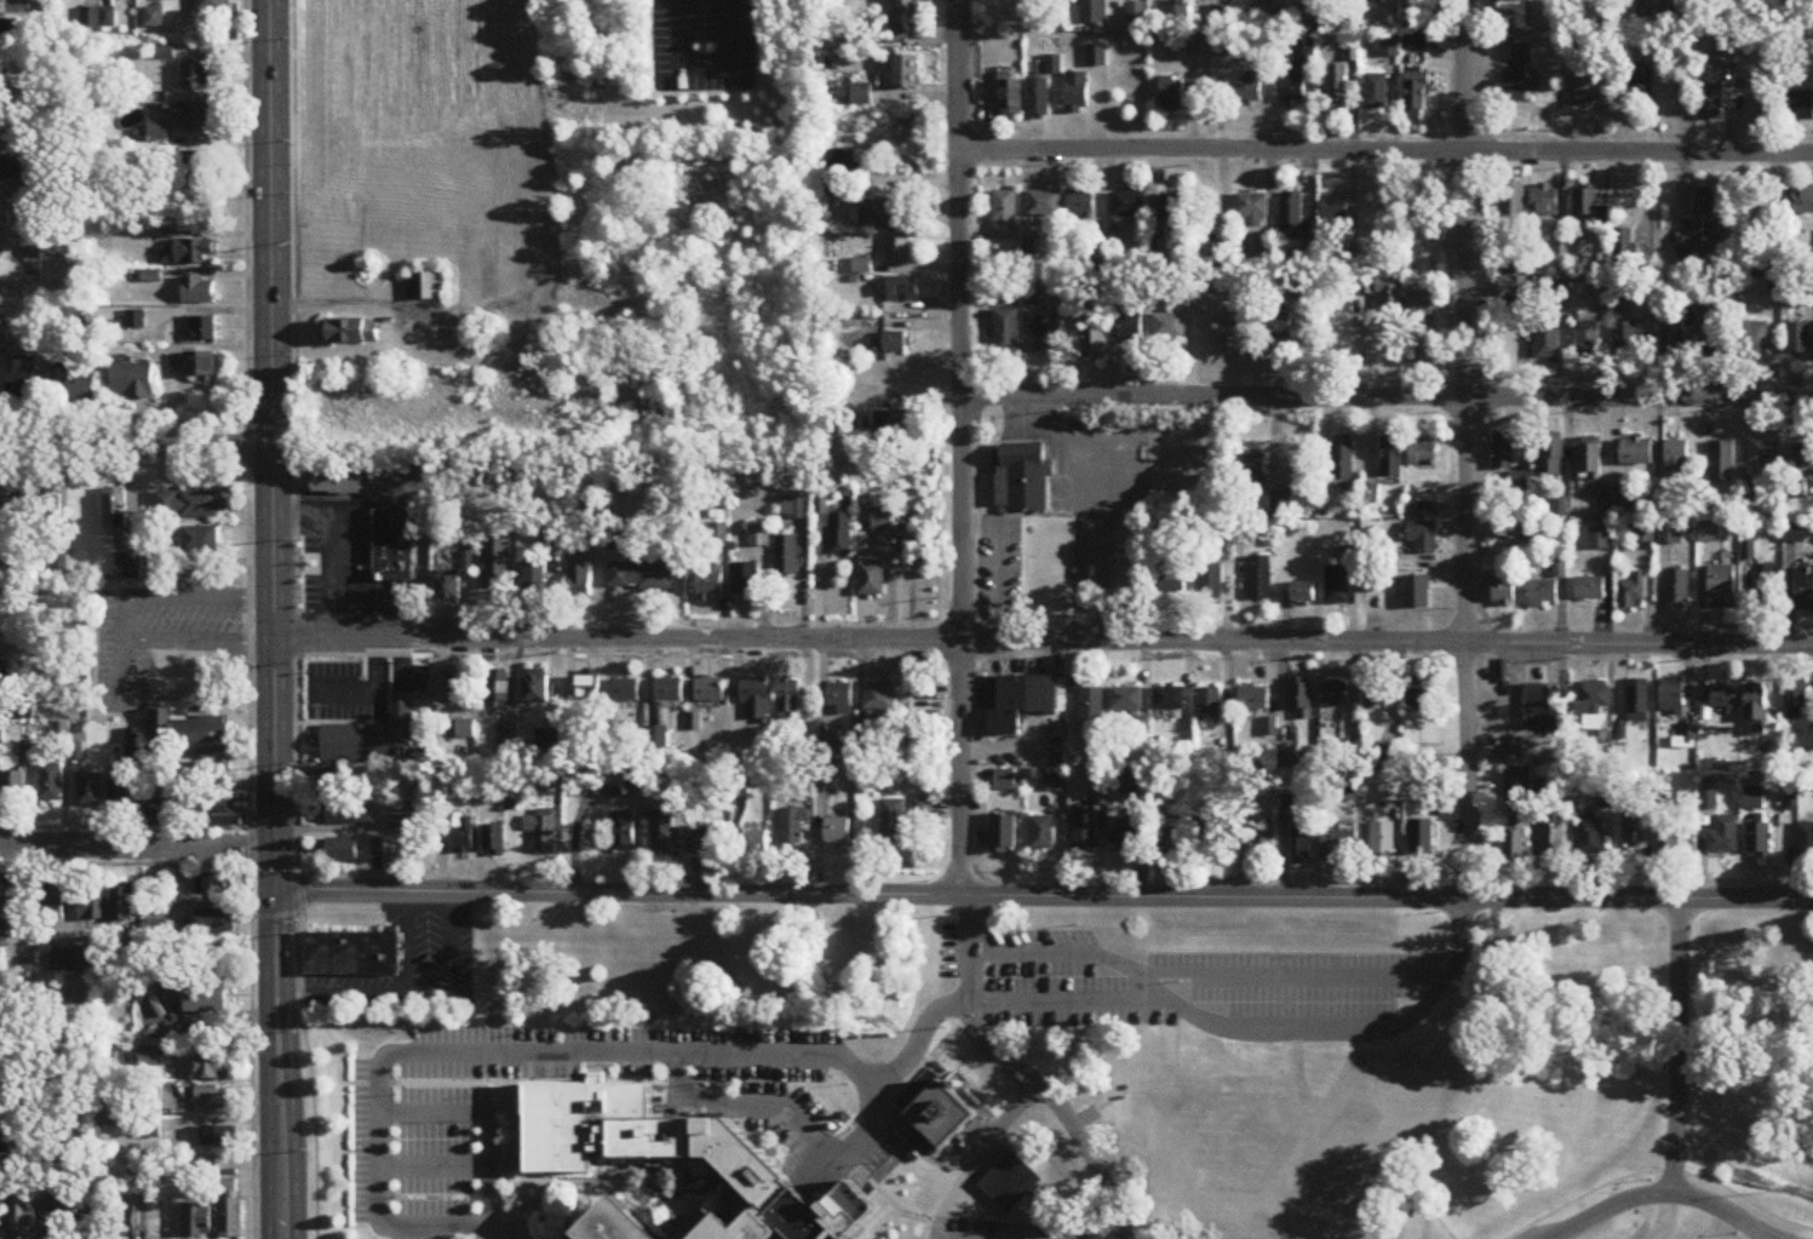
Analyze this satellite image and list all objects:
building: (1383, 1)
building: (208, 6)
building: (1269, 8)
building: (1092, 13)
building: (1136, 13)
building: (1510, 17)
building: (153, 19)
building: (1176, 19)
building: (903, 21)
building: (1415, 25)
building: (1222, 42)
building: (1389, 50)
building: (1723, 52)
building: (1521, 55)
building: (1096, 57)
building: (906, 73)
building: (1298, 76)
building: (197, 79)
building: (1640, 87)
building: (1338, 88)
building: (1514, 90)
building: (1250, 91)
building: (1591, 91)
building: (1171, 93)
building: (1376, 93)
building: (1077, 94)
building: (861, 96)
building: (1011, 98)
building: (1039, 98)
building: (1417, 98)
building: (1710, 102)
building: (1800, 113)
building: (191, 116)
road: (1387, 153)
building: (842, 162)
building: (197, 170)
building: (1545, 201)
building: (1803, 202)
building: (1045, 203)
building: (1082, 203)
building: (1513, 203)
building: (1128, 206)
building: (1590, 208)
building: (1174, 210)
building: (1251, 211)
building: (1333, 211)
building: (1705, 212)
building: (1004, 214)
building: (1291, 214)
building: (884, 216)
building: (1624, 251)
building: (899, 252)
building: (188, 254)
building: (1204, 256)
building: (1683, 258)
building: (1757, 264)
building: (505, 279)
building: (425, 288)
building: (1600, 289)
building: (902, 291)
building: (1513, 291)
building: (199, 292)
building: (1560, 294)
building: (1422, 304)
building: (1276, 325)
building: (1169, 327)
building: (1131, 328)
building: (1227, 328)
building: (201, 329)
building: (352, 332)
building: (1005, 332)
building: (1090, 333)
building: (1719, 333)
building: (1046, 334)
building: (1671, 334)
building: (1588, 337)
building: (1754, 339)
building: (1798, 339)
building: (1547, 340)
building: (1625, 340)
building: (891, 344)
building: (200, 368)
building: (21, 382)
building: (133, 383)
building: (74, 385)
road: (1388, 398)
building: (896, 424)
road: (137, 447)
road: (962, 448)
road: (1464, 451)
building: (1503, 452)
building: (1765, 452)
building: (1636, 453)
building: (1422, 455)
building: (1551, 455)
building: (1342, 457)
building: (1390, 458)
building: (1589, 459)
building: (1676, 459)
building: (1803, 459)
building: (1722, 464)
building: (1251, 478)
building: (1022, 480)
building: (1517, 480)
building: (337, 481)
road: (1106, 487)
road: (340, 497)
building: (191, 505)
building: (48, 507)
building: (1624, 507)
building: (19, 509)
building: (798, 509)
building: (1427, 510)
building: (1666, 510)
building: (115, 511)
building: (924, 520)
building: (882, 521)
building: (1159, 532)
building: (1794, 534)
building: (839, 535)
building: (1656, 535)
building: (757, 537)
building: (550, 538)
building: (1423, 539)
building: (1600, 540)
building: (201, 541)
building: (390, 546)
building: (786, 557)
building: (130, 566)
building: (497, 566)
building: (578, 572)
building: (639, 578)
building: (1258, 579)
building: (535, 580)
building: (871, 580)
building: (745, 581)
building: (1170, 581)
building: (1210, 583)
building: (710, 585)
building: (1336, 586)
building: (1722, 587)
building: (451, 590)
building: (1589, 590)
building: (1803, 591)
building: (1676, 592)
road: (1073, 593)
building: (1303, 593)
building: (1416, 593)
building: (1633, 593)
building: (1769, 593)
building: (1504, 595)
building: (1544, 595)
road: (249, 619)
road: (276, 619)
road: (297, 619)
road: (124, 621)
road: (1044, 643)
building: (459, 686)
building: (581, 688)
building: (537, 690)
building: (497, 692)
building: (626, 692)
building: (670, 692)
building: (708, 692)
building: (1421, 693)
building: (1335, 695)
building: (1671, 695)
building: (1796, 696)
building: (880, 698)
building: (1299, 698)
building: (840, 699)
building: (755, 700)
building: (787, 700)
building: (1126, 700)
building: (1169, 700)
building: (1253, 700)
building: (1376, 700)
building: (1725, 700)
building: (1637, 702)
building: (1021, 704)
building: (1209, 705)
building: (1596, 707)
building: (1092, 709)
building: (1756, 709)
building: (1542, 710)
building: (466, 730)
building: (187, 734)
building: (374, 738)
building: (658, 739)
building: (832, 756)
building: (1390, 757)
building: (633, 779)
building: (1004, 781)
building: (210, 782)
building: (1054, 782)
building: (51, 784)
building: (339, 784)
building: (1129, 784)
building: (15, 786)
building: (1517, 790)
building: (91, 791)
building: (120, 791)
building: (1390, 793)
building: (1752, 799)
building: (1708, 801)
building: (159, 805)
building: (923, 810)
building: (216, 813)
building: (346, 818)
building: (402, 824)
building: (893, 824)
building: (792, 830)
building: (1634, 830)
building: (1002, 831)
building: (624, 832)
building: (838, 832)
building: (1084, 832)
building: (1042, 834)
building: (463, 836)
building: (1128, 837)
building: (1723, 837)
building: (1553, 838)
building: (1590, 838)
building: (1383, 839)
building: (1514, 839)
building: (1263, 841)
building: (494, 842)
building: (753, 842)
building: (1759, 842)
building: (1805, 842)
building: (1176, 843)
building: (1681, 843)
building: (705, 844)
building: (1339, 845)
road: (137, 847)
building: (1303, 847)
building: (342, 851)
building: (214, 885)
traffic signals: (276, 894)
road: (1044, 896)
building: (122, 904)
building: (21, 905)
building: (91, 905)
building: (52, 908)
road: (352, 912)
building: (214, 923)
road: (1066, 950)
building: (352, 957)
building: (61, 960)
road: (1281, 975)
building: (1, 988)
building: (199, 998)
road: (395, 999)
road: (1255, 1015)
road: (918, 1043)
road: (1679, 1046)
road: (560, 1056)
building: (149, 1057)
building: (213, 1069)
road: (1020, 1073)
road: (384, 1085)
building: (5, 1096)
building: (212, 1099)
road: (747, 1107)
road: (498, 1108)
building: (941, 1113)
road: (489, 1125)
road: (512, 1134)
building: (0, 1135)
building: (220, 1138)
building: (1284, 1149)
road: (974, 1155)
building: (557, 1158)
road: (436, 1170)
road: (543, 1183)
building: (1010, 1186)
building: (226, 1188)
road: (1663, 1193)
road: (569, 1211)
building: (59, 1216)
building: (23, 1217)
building: (0, 1218)
building: (229, 1220)
building: (618, 1221)
building: (199, 1222)
building: (126, 1226)
building: (94, 1227)
building: (1383, 1237)

